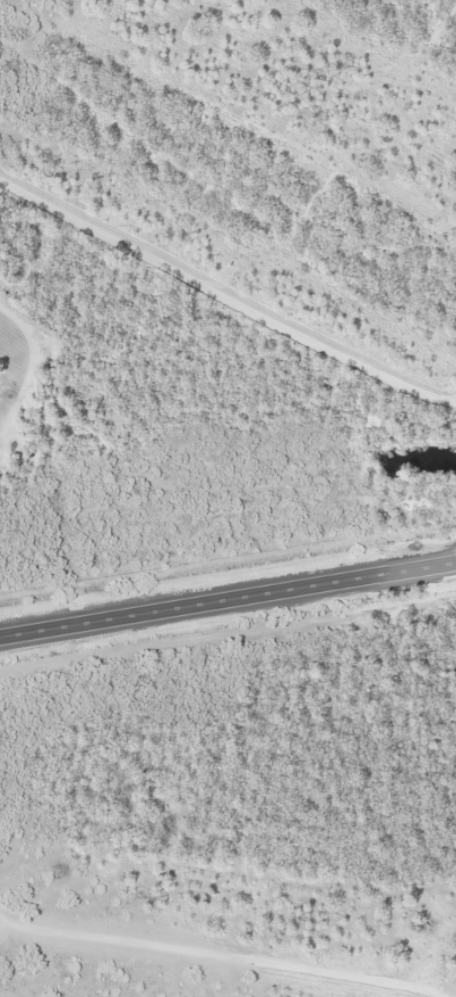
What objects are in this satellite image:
road: (228, 598)

